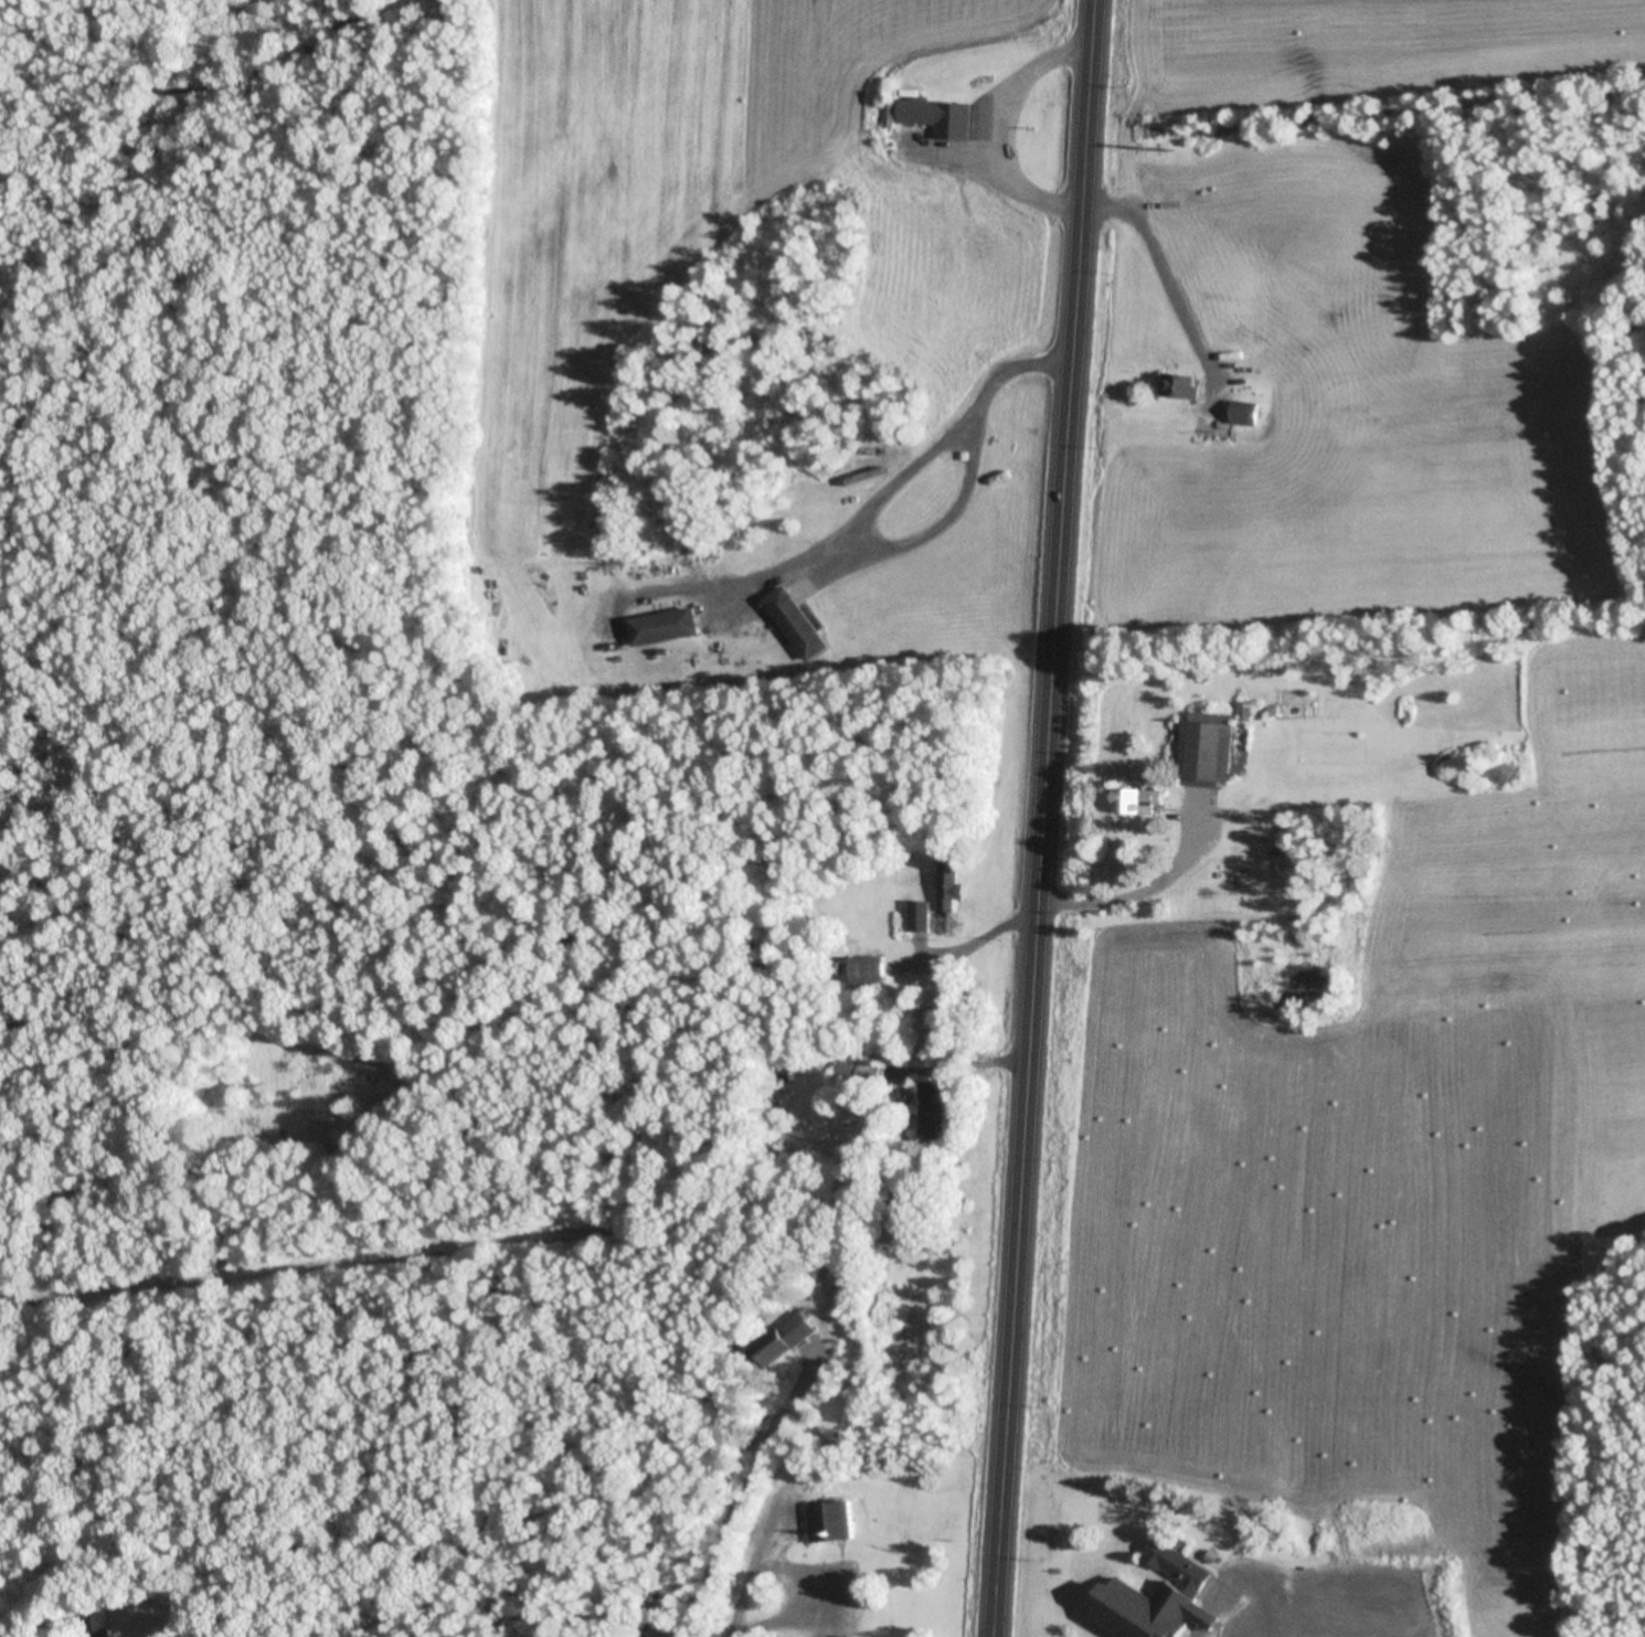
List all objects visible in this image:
building: (941, 118)
building: (1182, 386)
building: (1224, 389)
building: (1245, 413)
building: (798, 624)
building: (667, 627)
building: (1208, 747)
building: (1139, 801)
road: (1040, 818)
building: (953, 886)
building: (921, 916)
building: (869, 969)
building: (932, 1110)
building: (788, 1339)
building: (835, 1520)
building: (1304, 1584)
building: (1161, 1599)

